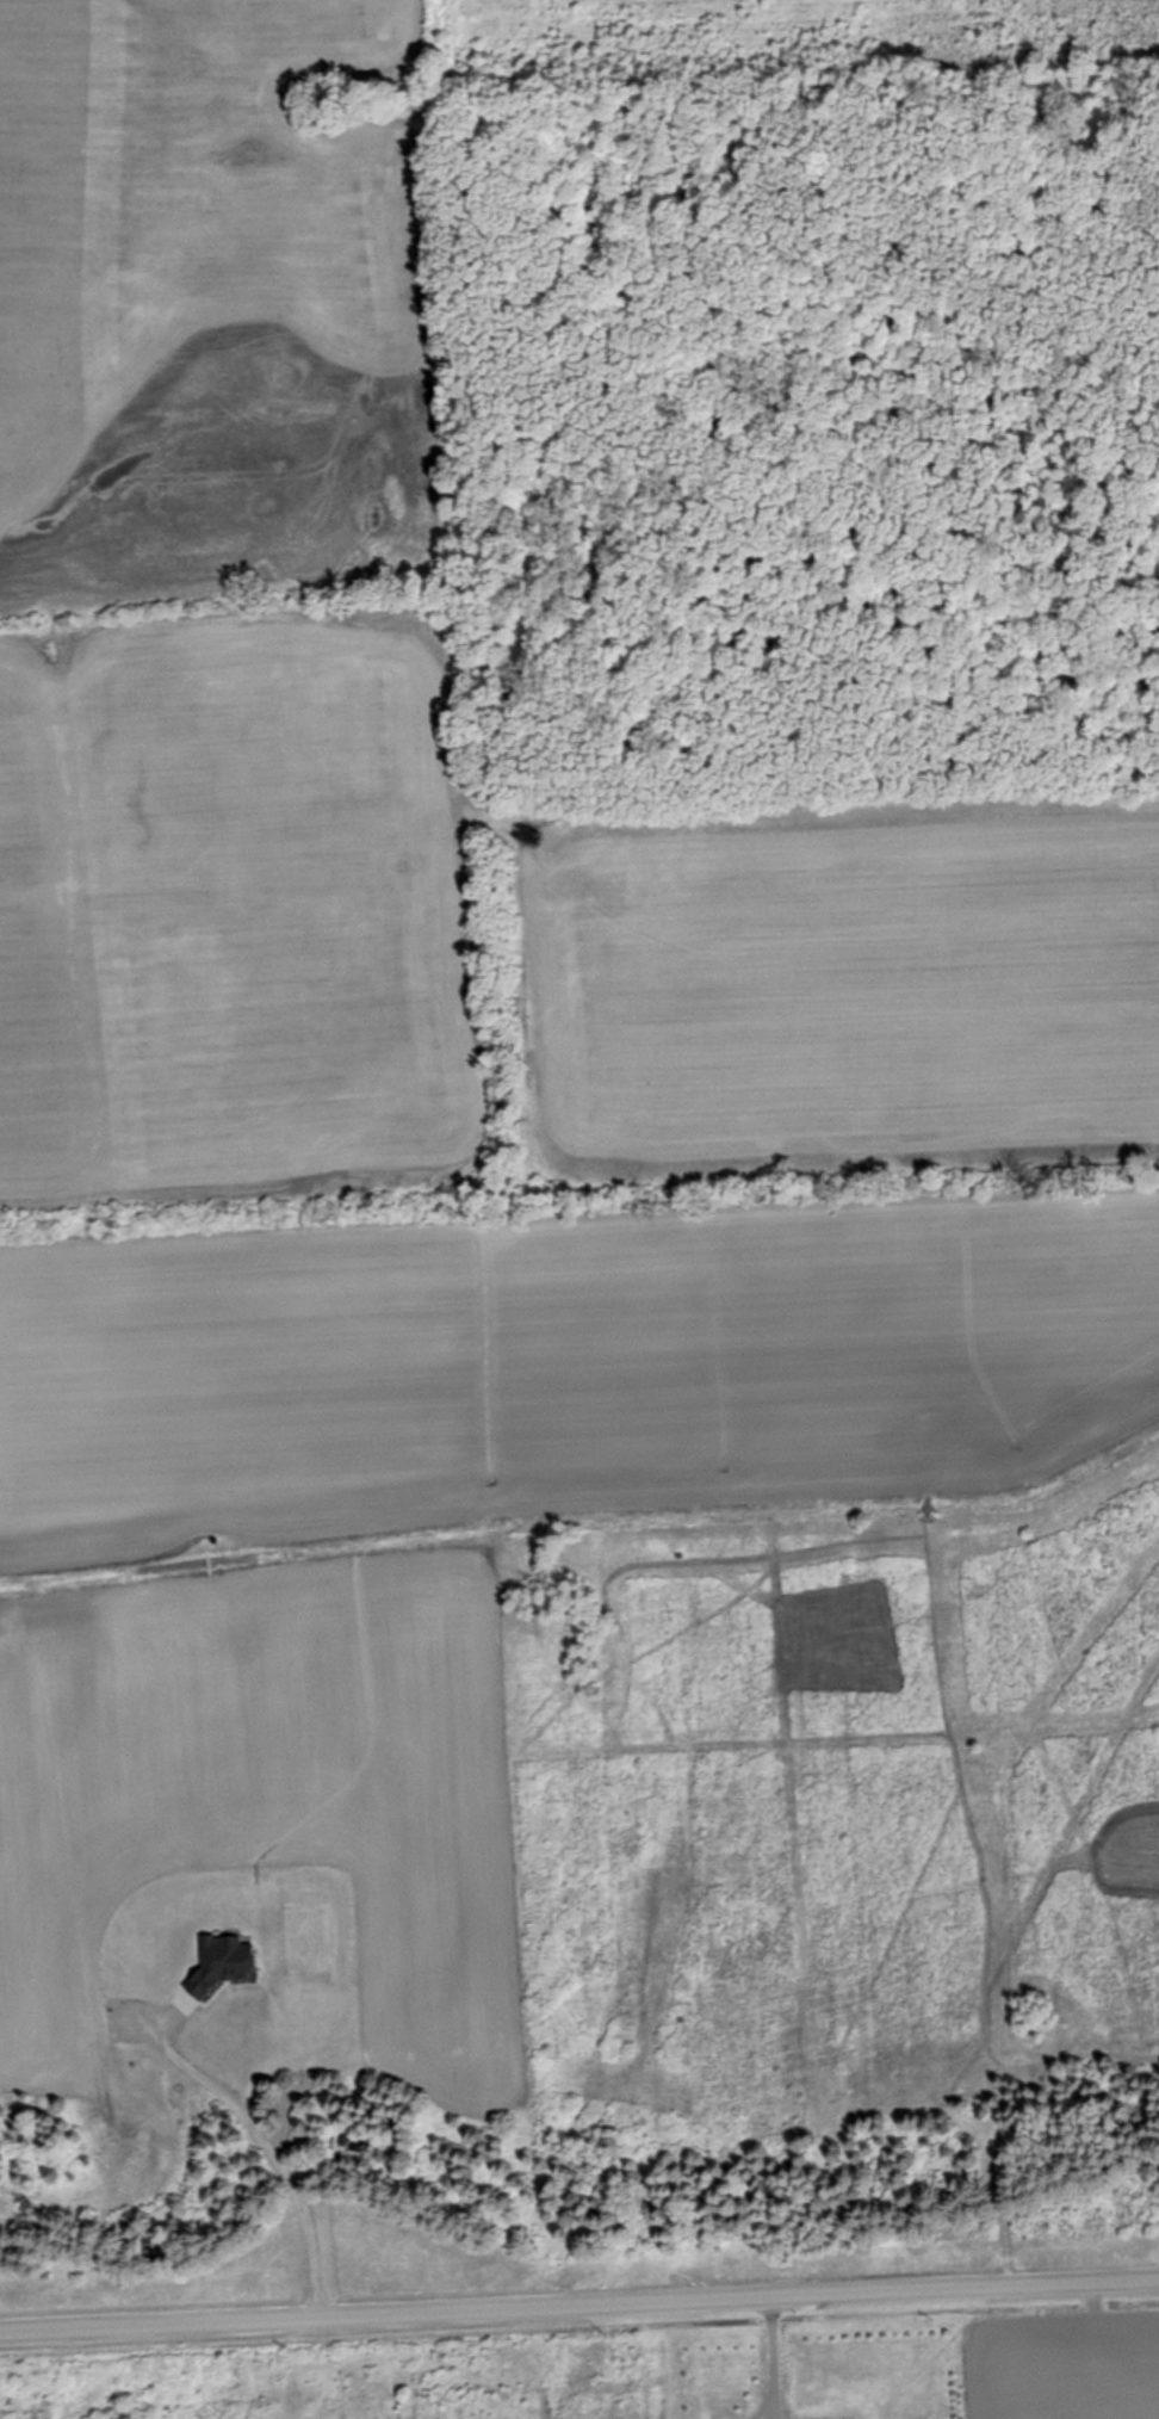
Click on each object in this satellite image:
road: (579, 2309)

